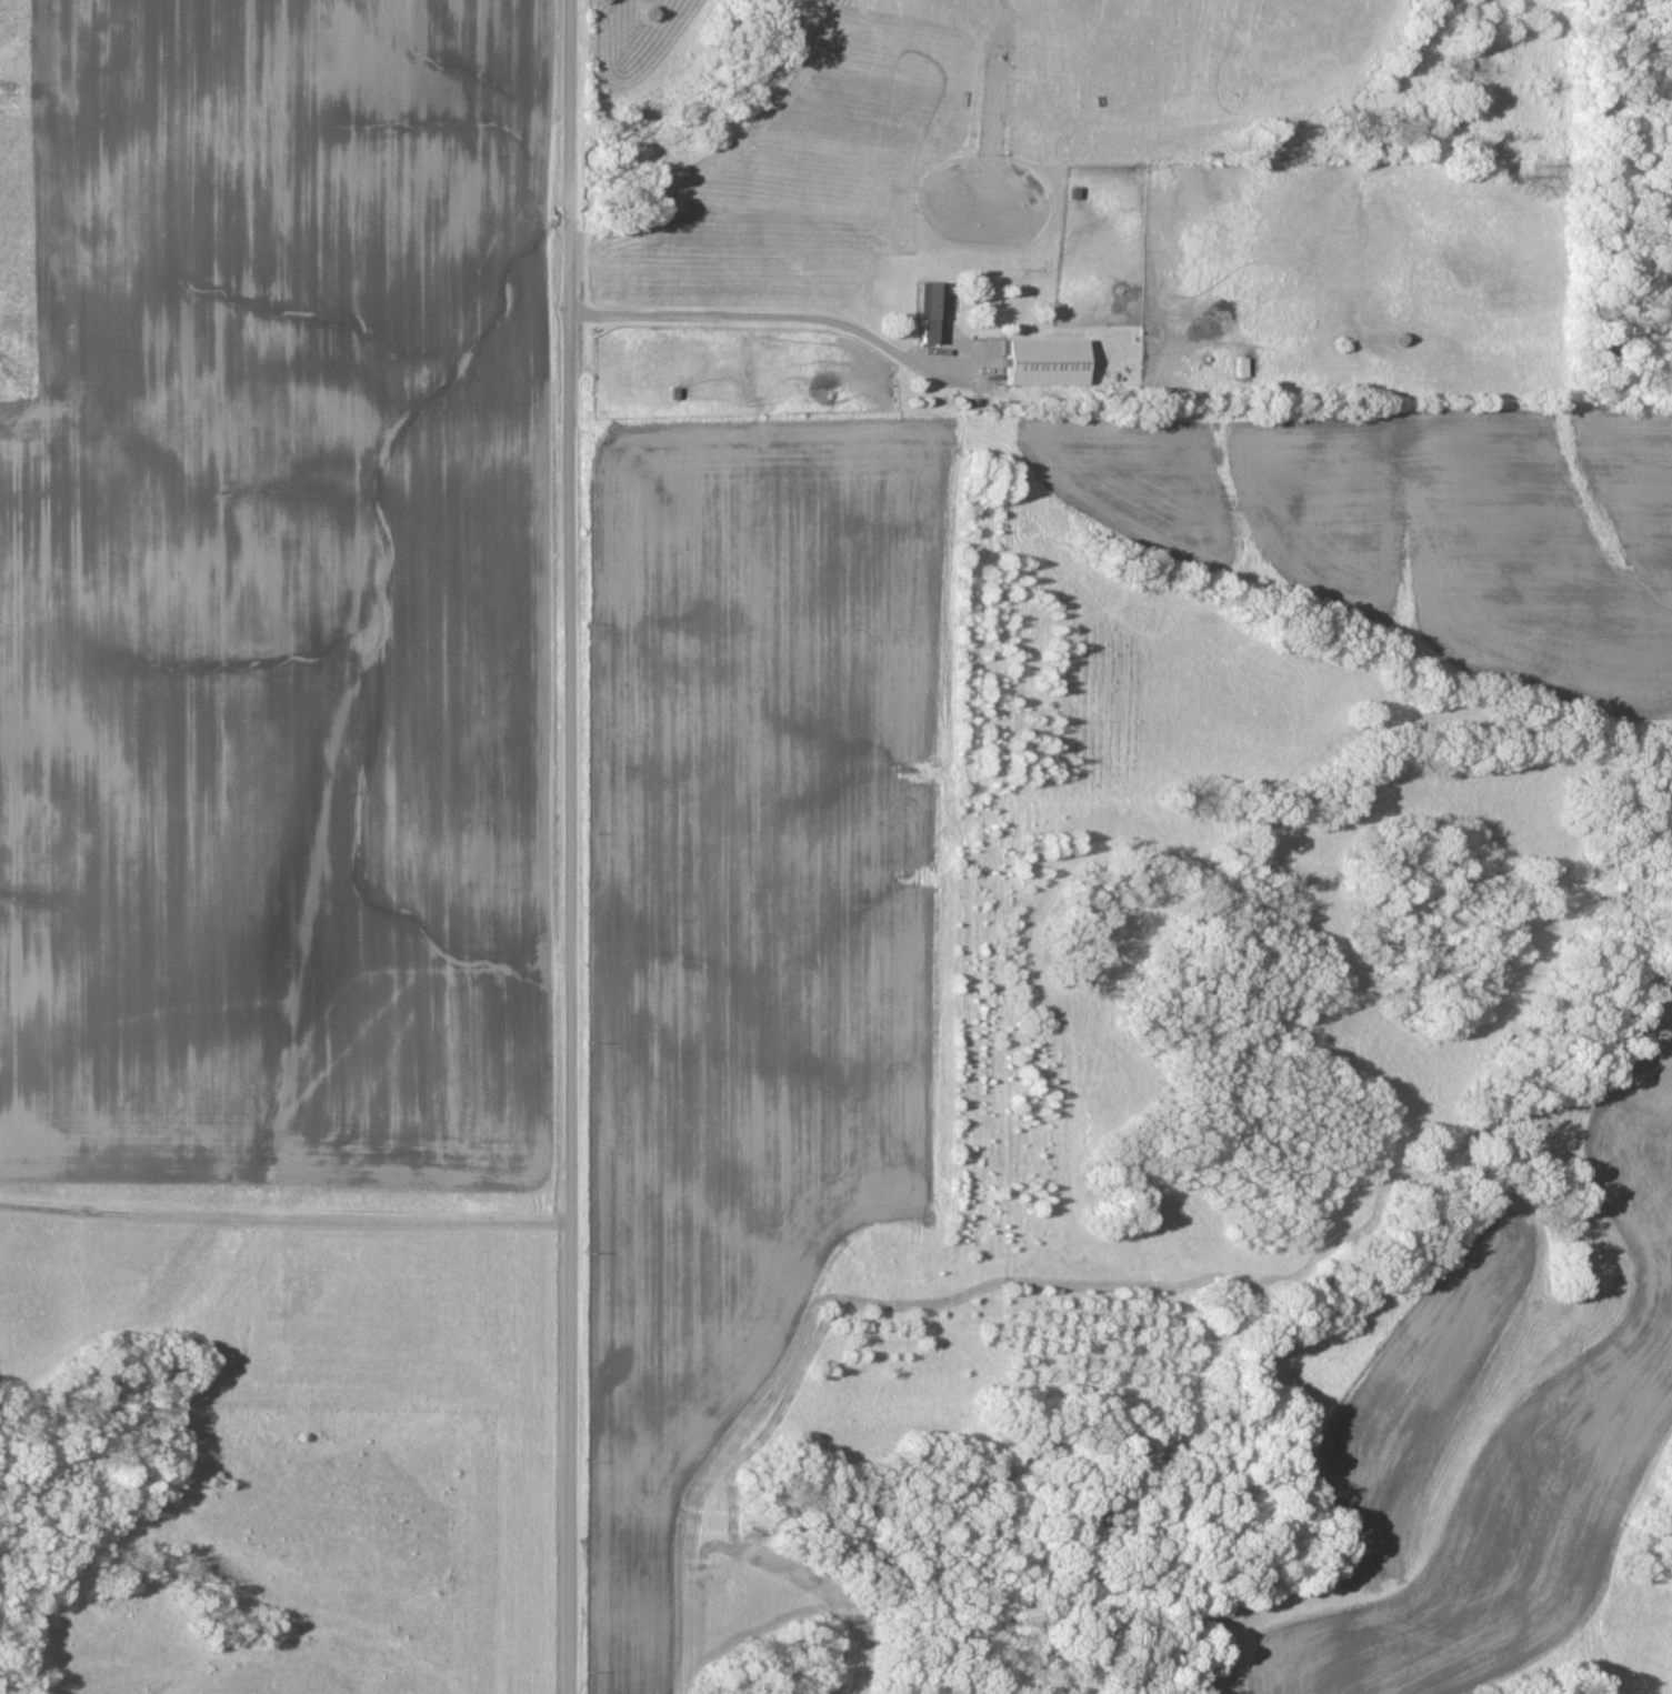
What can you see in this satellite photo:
building: (931, 313)
road: (770, 315)
building: (1044, 363)
road: (564, 846)
road: (281, 1224)

